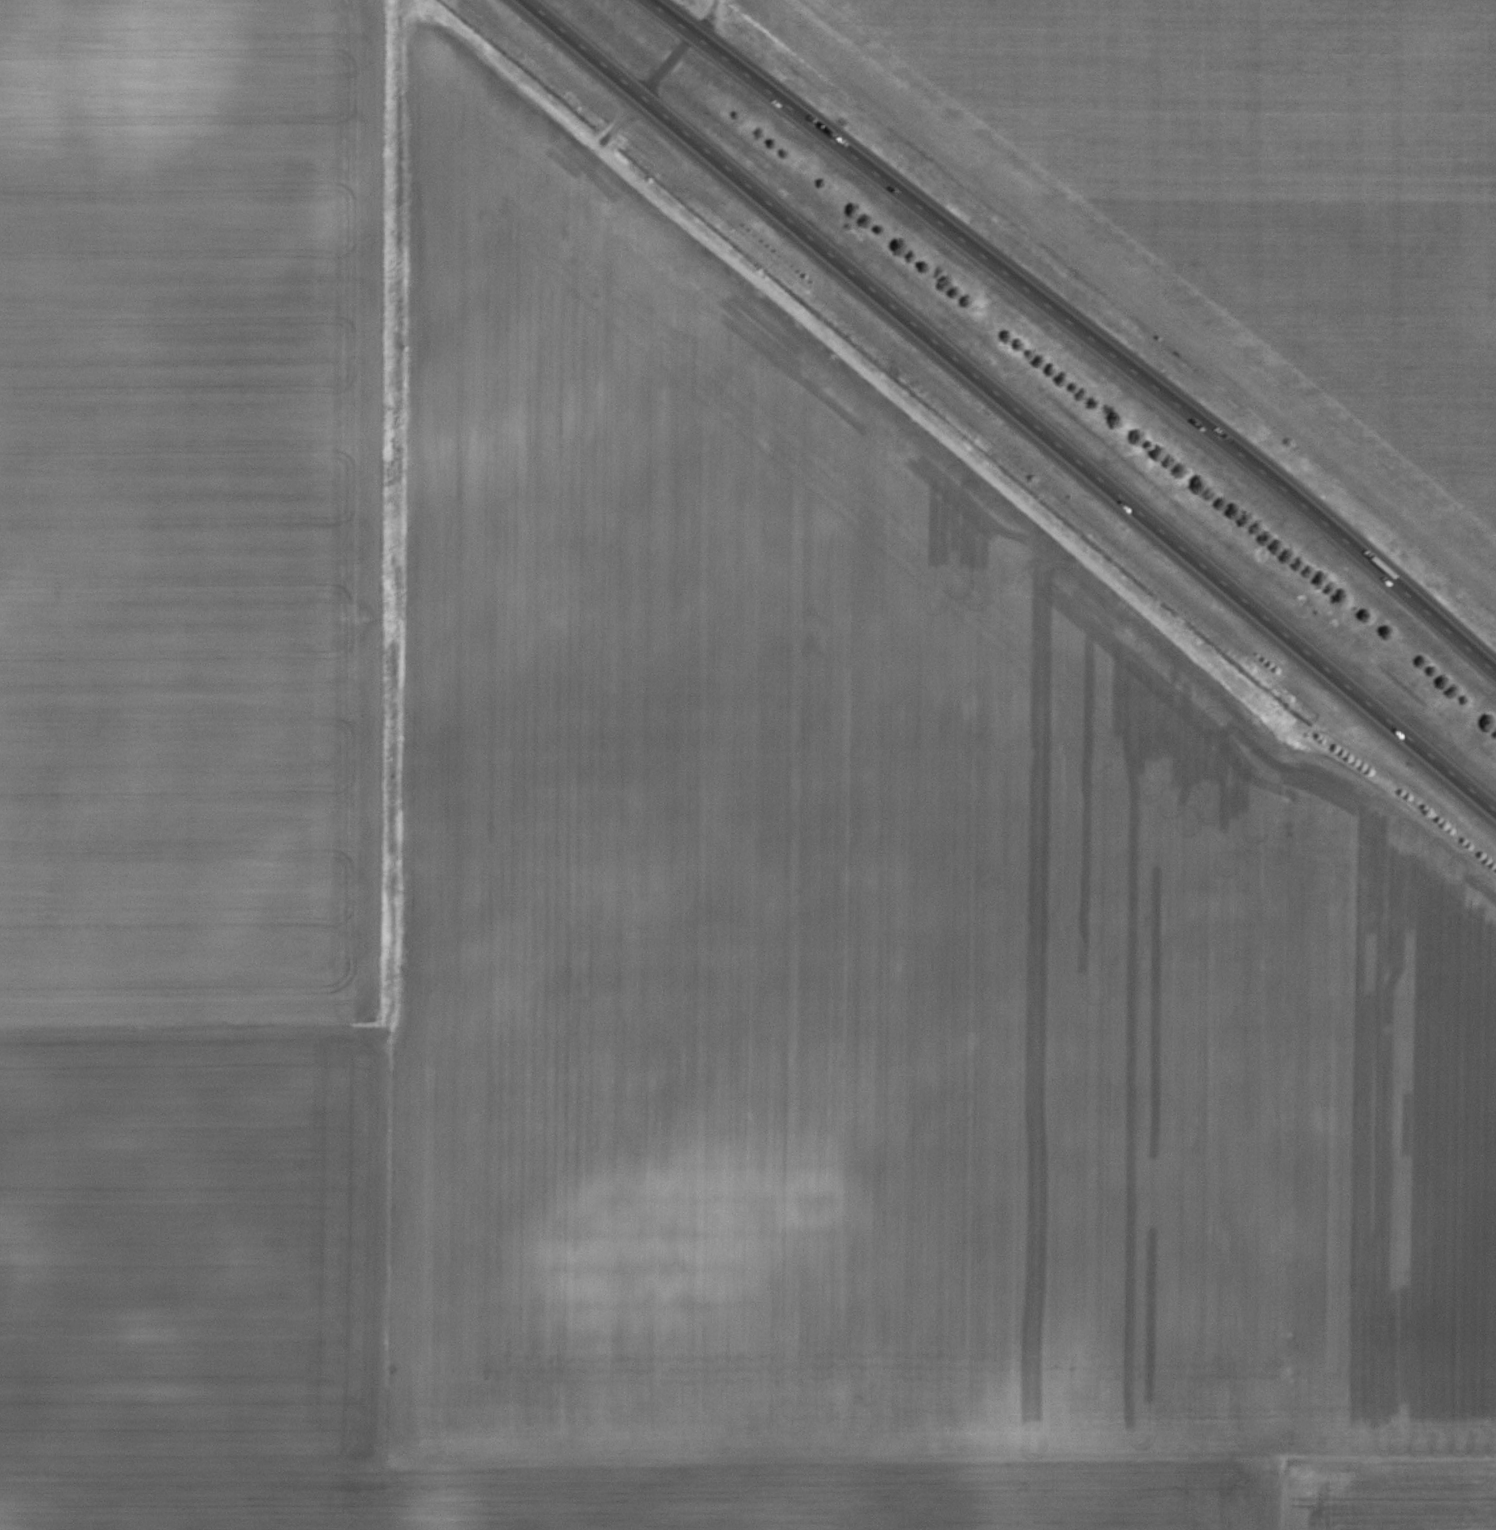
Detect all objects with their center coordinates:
road: (674, 49)
road: (1081, 325)
road: (1007, 408)

